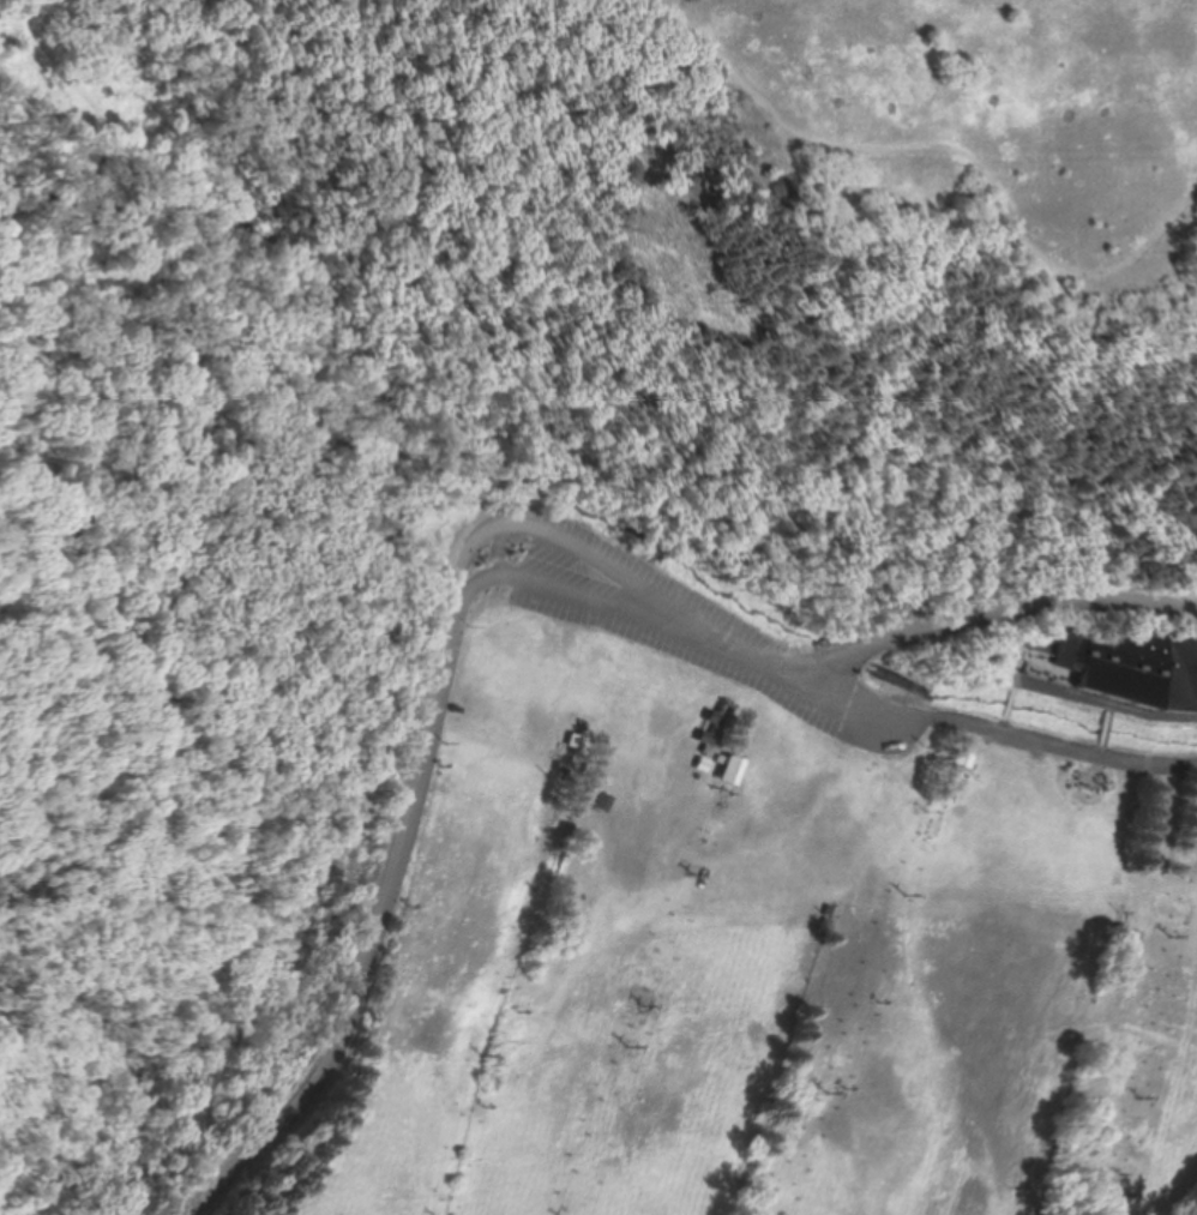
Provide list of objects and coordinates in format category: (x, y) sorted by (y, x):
road: (658, 16)
road: (968, 152)
road: (122, 362)
park: (444, 366)
road: (300, 427)
road: (501, 572)
building: (1135, 666)
road: (1006, 738)
building: (728, 770)
aerialway pylon: (563, 778)
aerialway pylon: (692, 873)
aerialway pylon: (907, 895)
aerialway pylon: (1174, 932)
ski resort: (774, 969)
aerialway pylon: (866, 999)
aerialway pylon: (643, 1008)
aerialway pylon: (628, 1046)
aerialway pylon: (483, 1055)
aerialway pylon: (831, 1091)
aerialway pylon: (1143, 1101)
aerialway pylon: (1129, 1173)

